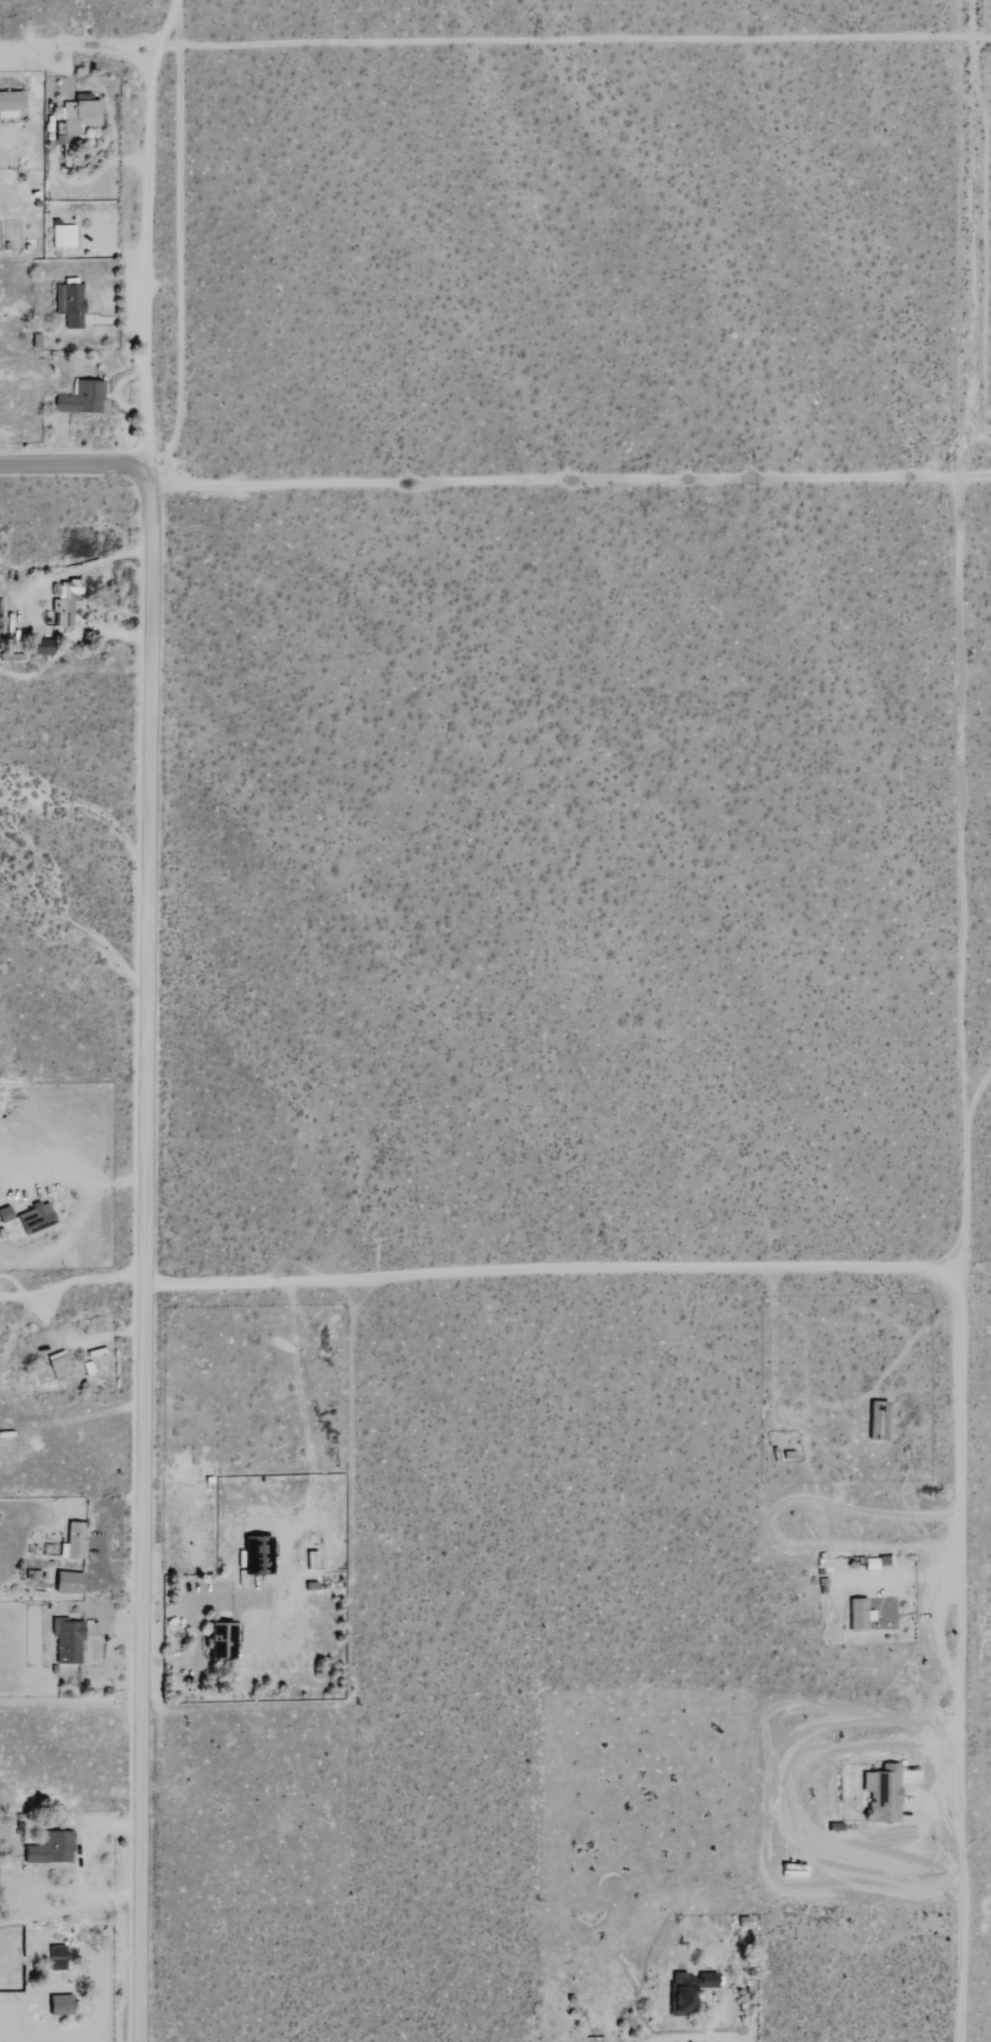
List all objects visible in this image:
road: (576, 43)
road: (81, 51)
building: (76, 117)
building: (61, 235)
road: (147, 243)
road: (976, 243)
building: (67, 304)
building: (80, 398)
road: (74, 469)
road: (573, 484)
road: (92, 571)
building: (63, 602)
building: (41, 639)
road: (86, 1176)
building: (5, 1213)
building: (33, 1218)
road: (151, 1263)
road: (555, 1269)
road: (74, 1286)
building: (57, 1365)
road: (770, 1521)
building: (72, 1541)
building: (66, 1582)
building: (857, 1614)
building: (66, 1641)
building: (218, 1641)
road: (956, 1657)
building: (881, 1793)
building: (50, 1849)
road: (71, 1917)
building: (55, 1958)
road: (97, 1978)
building: (685, 1991)
building: (59, 2005)

